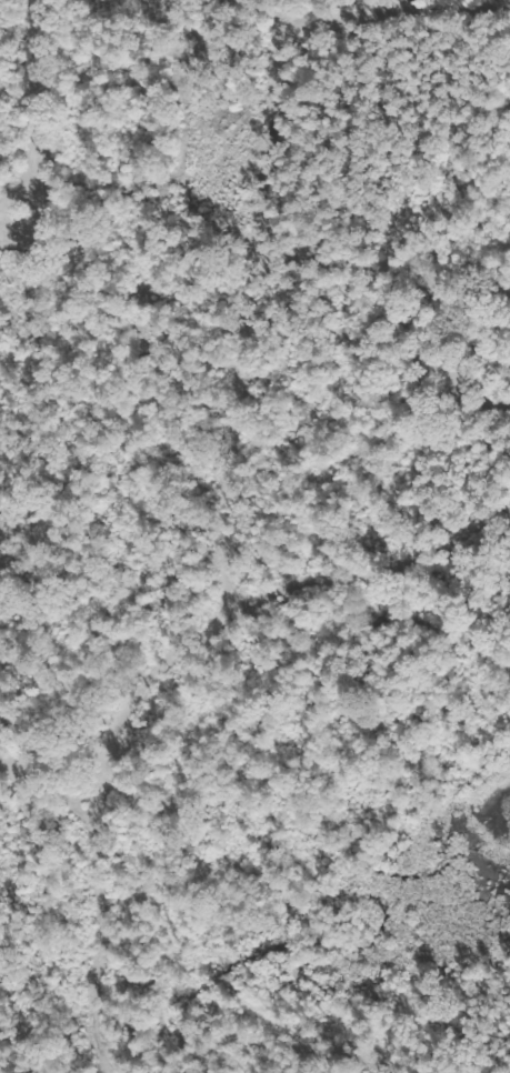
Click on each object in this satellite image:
road: (13, 765)

